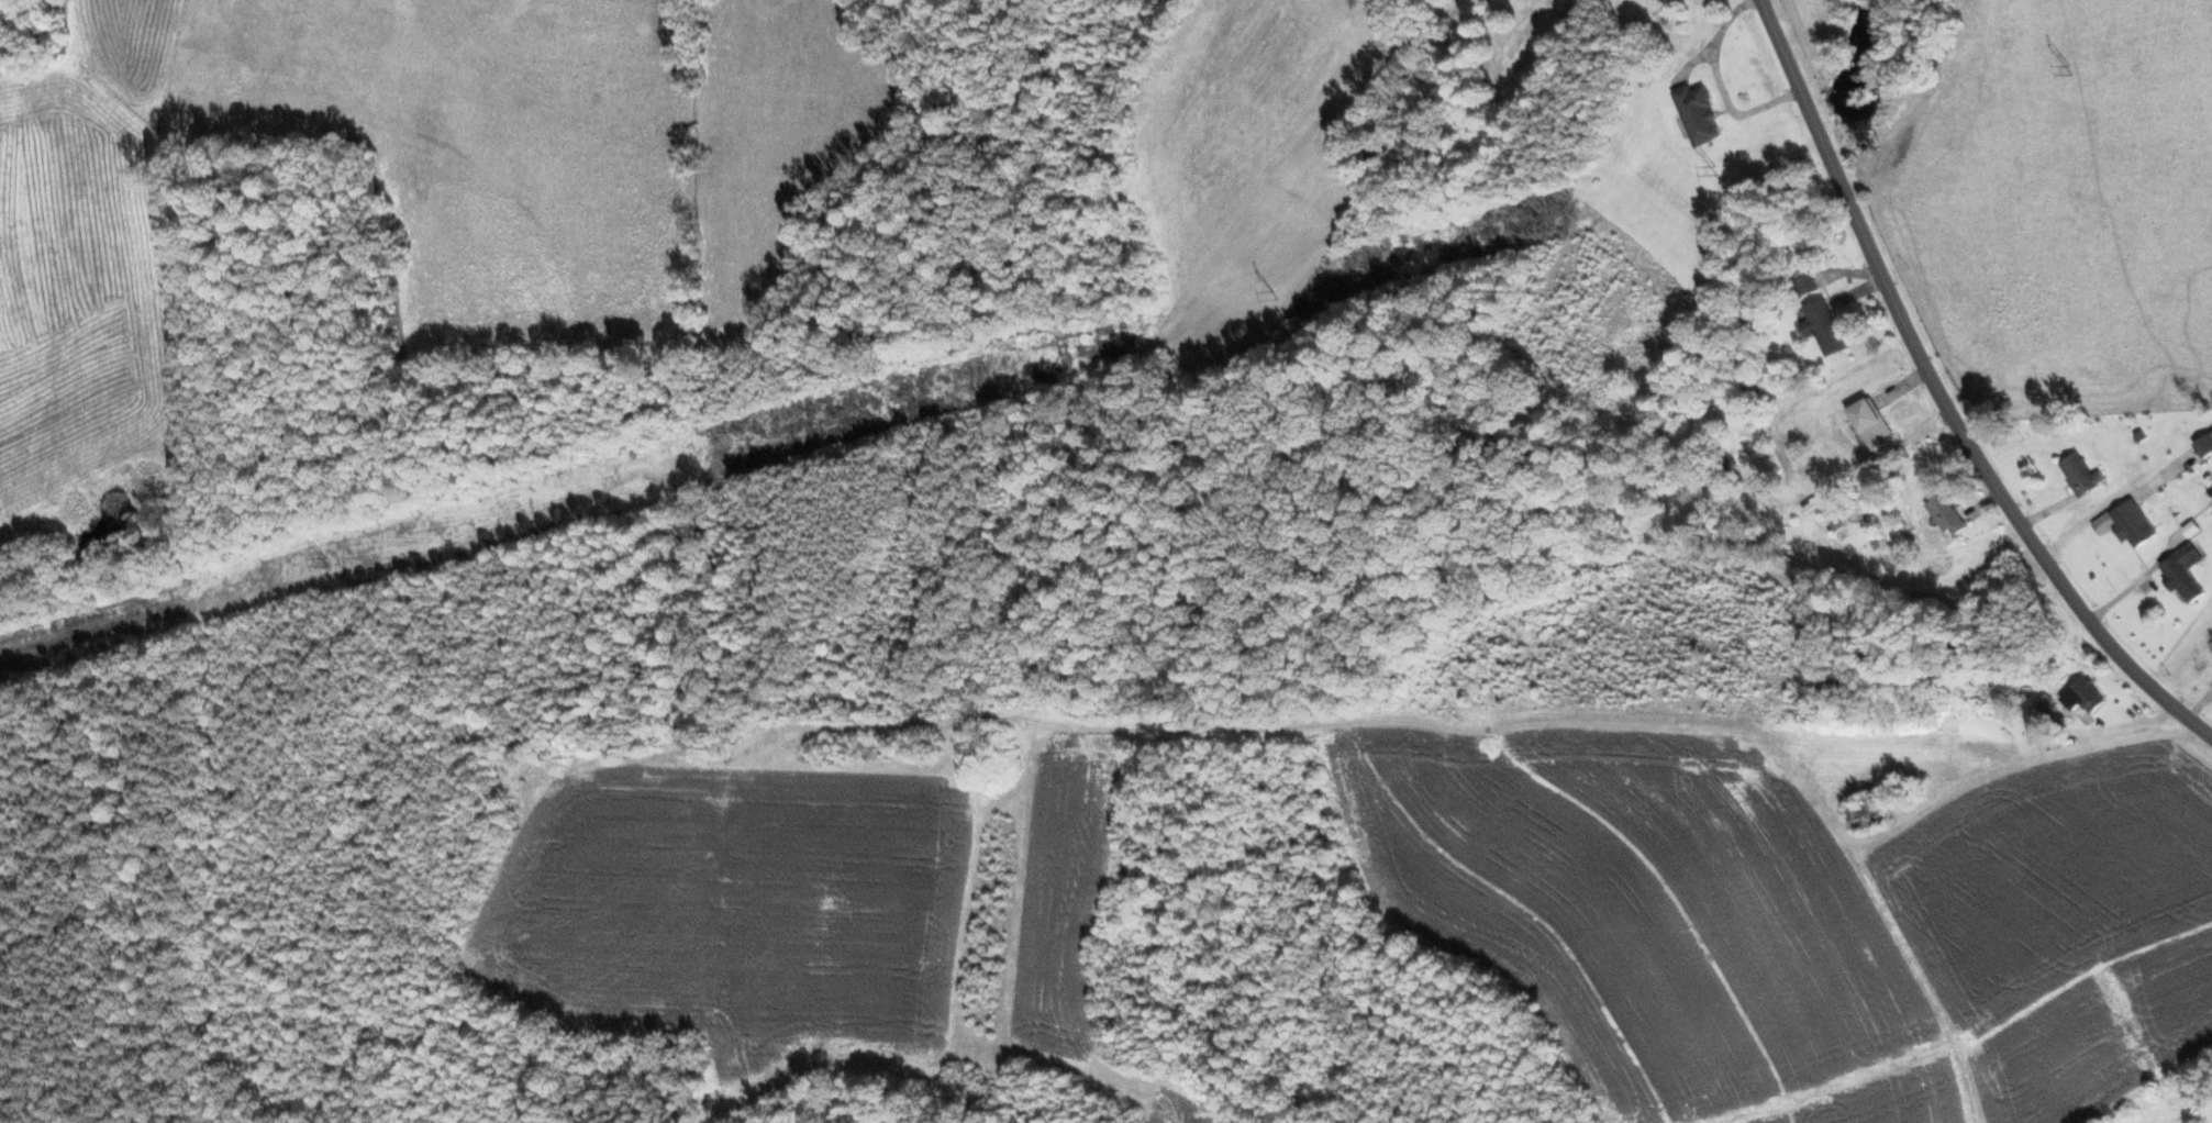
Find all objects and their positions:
power tower: (2066, 68)
building: (1696, 115)
power tower: (1712, 167)
building: (1804, 285)
power tower: (1272, 294)
building: (1821, 327)
road: (1938, 398)
building: (1869, 422)
power tower: (752, 444)
building: (2204, 444)
building: (2079, 474)
building: (2211, 493)
building: (1945, 514)
building: (2125, 523)
power tower: (329, 564)
building: (2182, 572)
building: (2085, 693)

